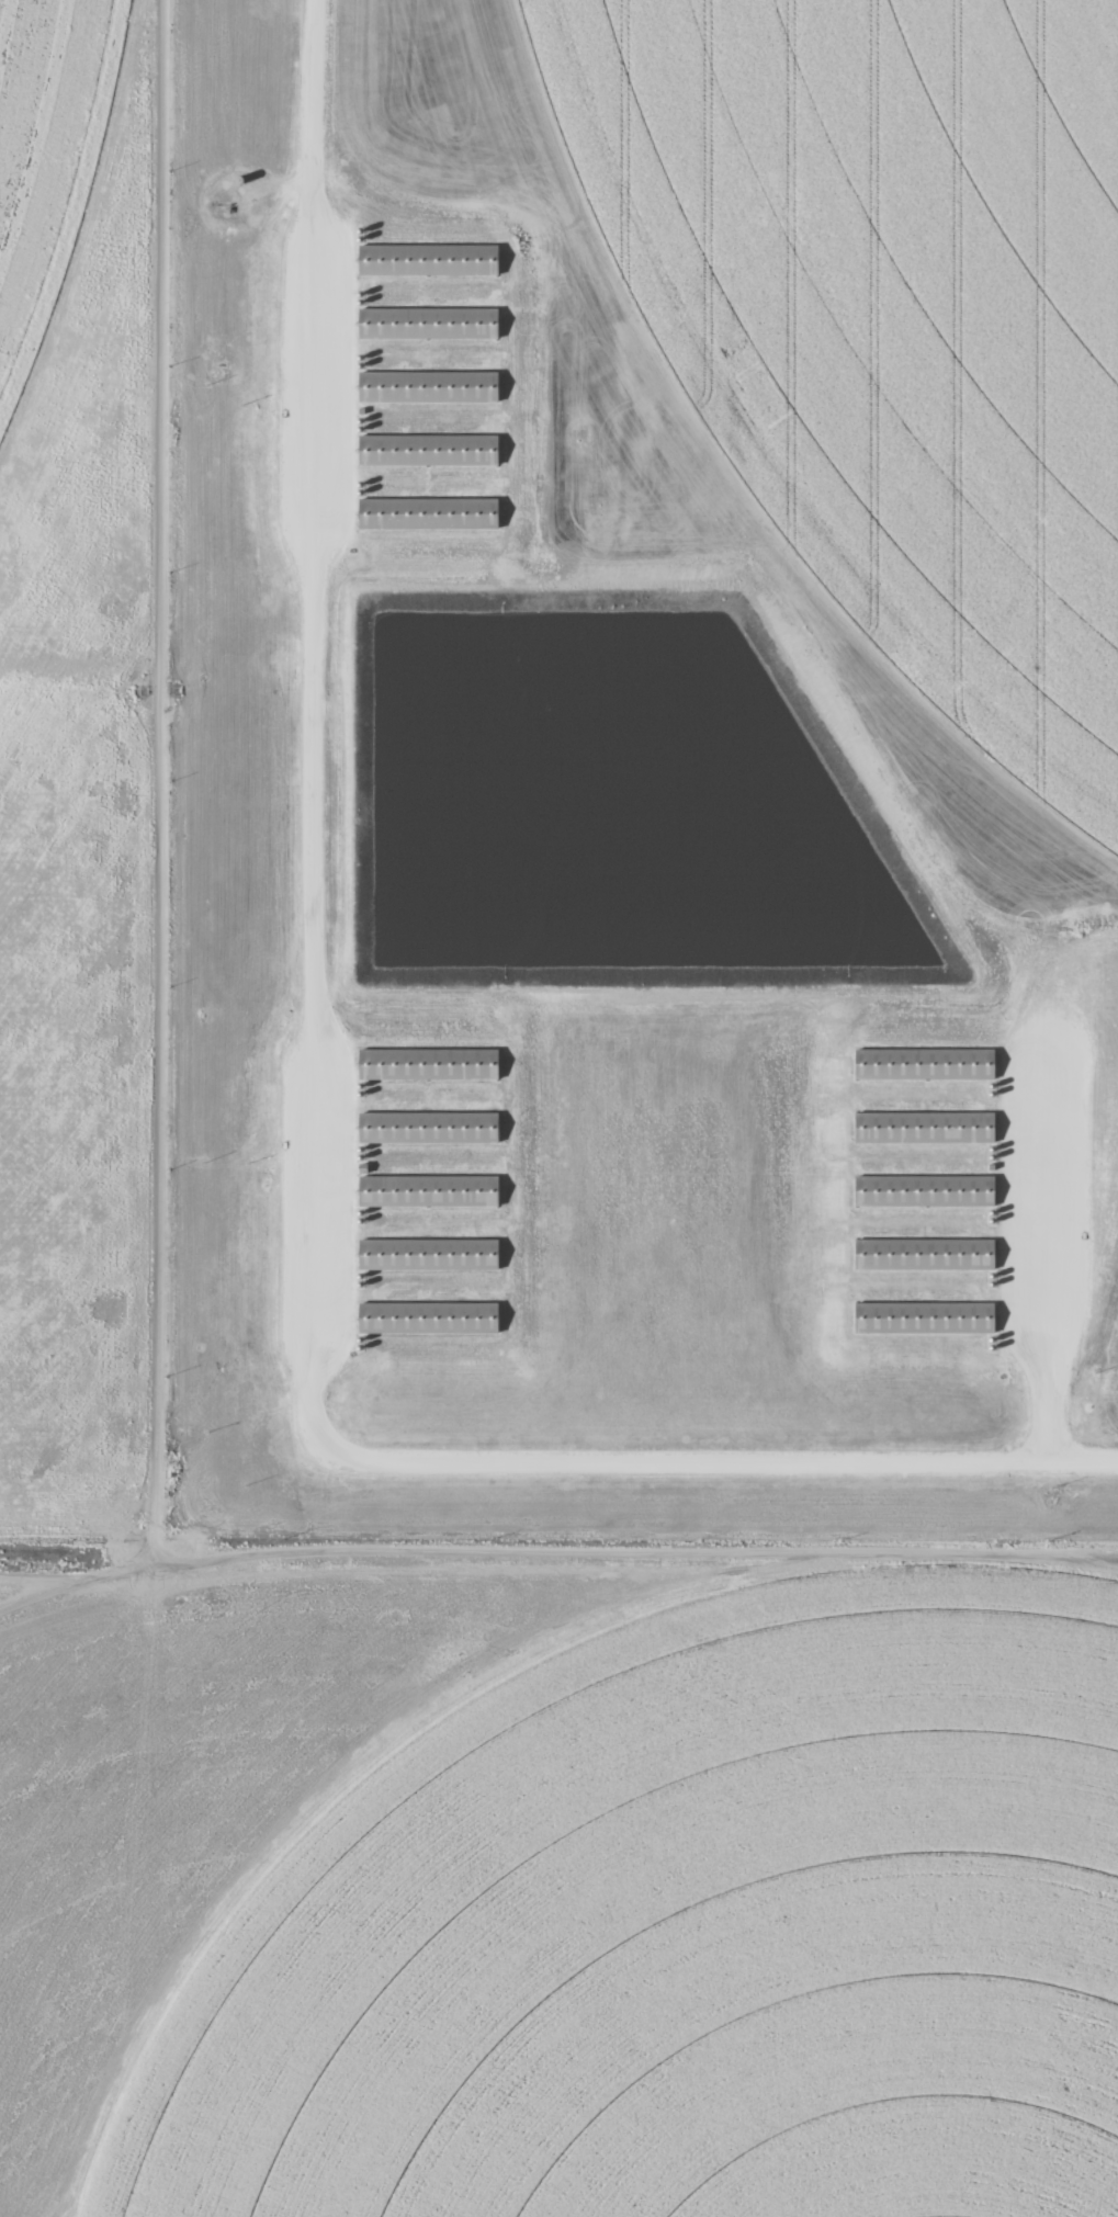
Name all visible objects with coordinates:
building: (427, 259)
building: (426, 323)
building: (426, 386)
building: (426, 450)
building: (426, 513)
building: (427, 1063)
building: (923, 1063)
building: (923, 1127)
building: (427, 1190)
building: (923, 1190)
building: (426, 1254)
building: (923, 1254)
building: (923, 1317)

